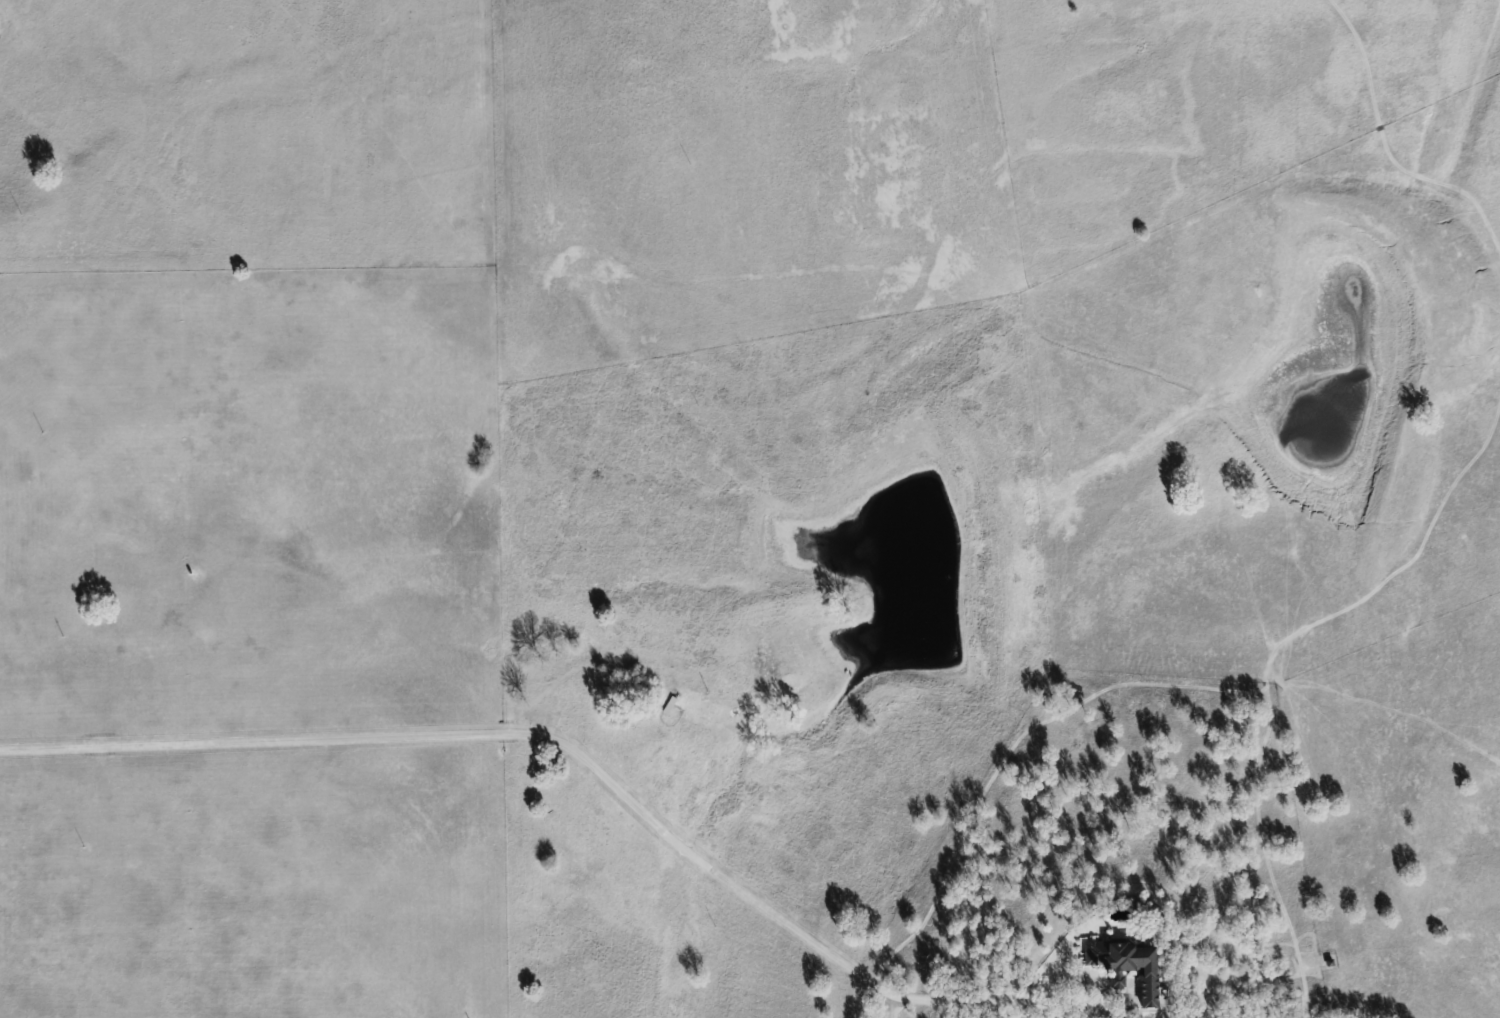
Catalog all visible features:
road: (568, 747)
building: (1137, 964)
building: (1123, 981)
road: (891, 1009)
road: (1112, 1013)

